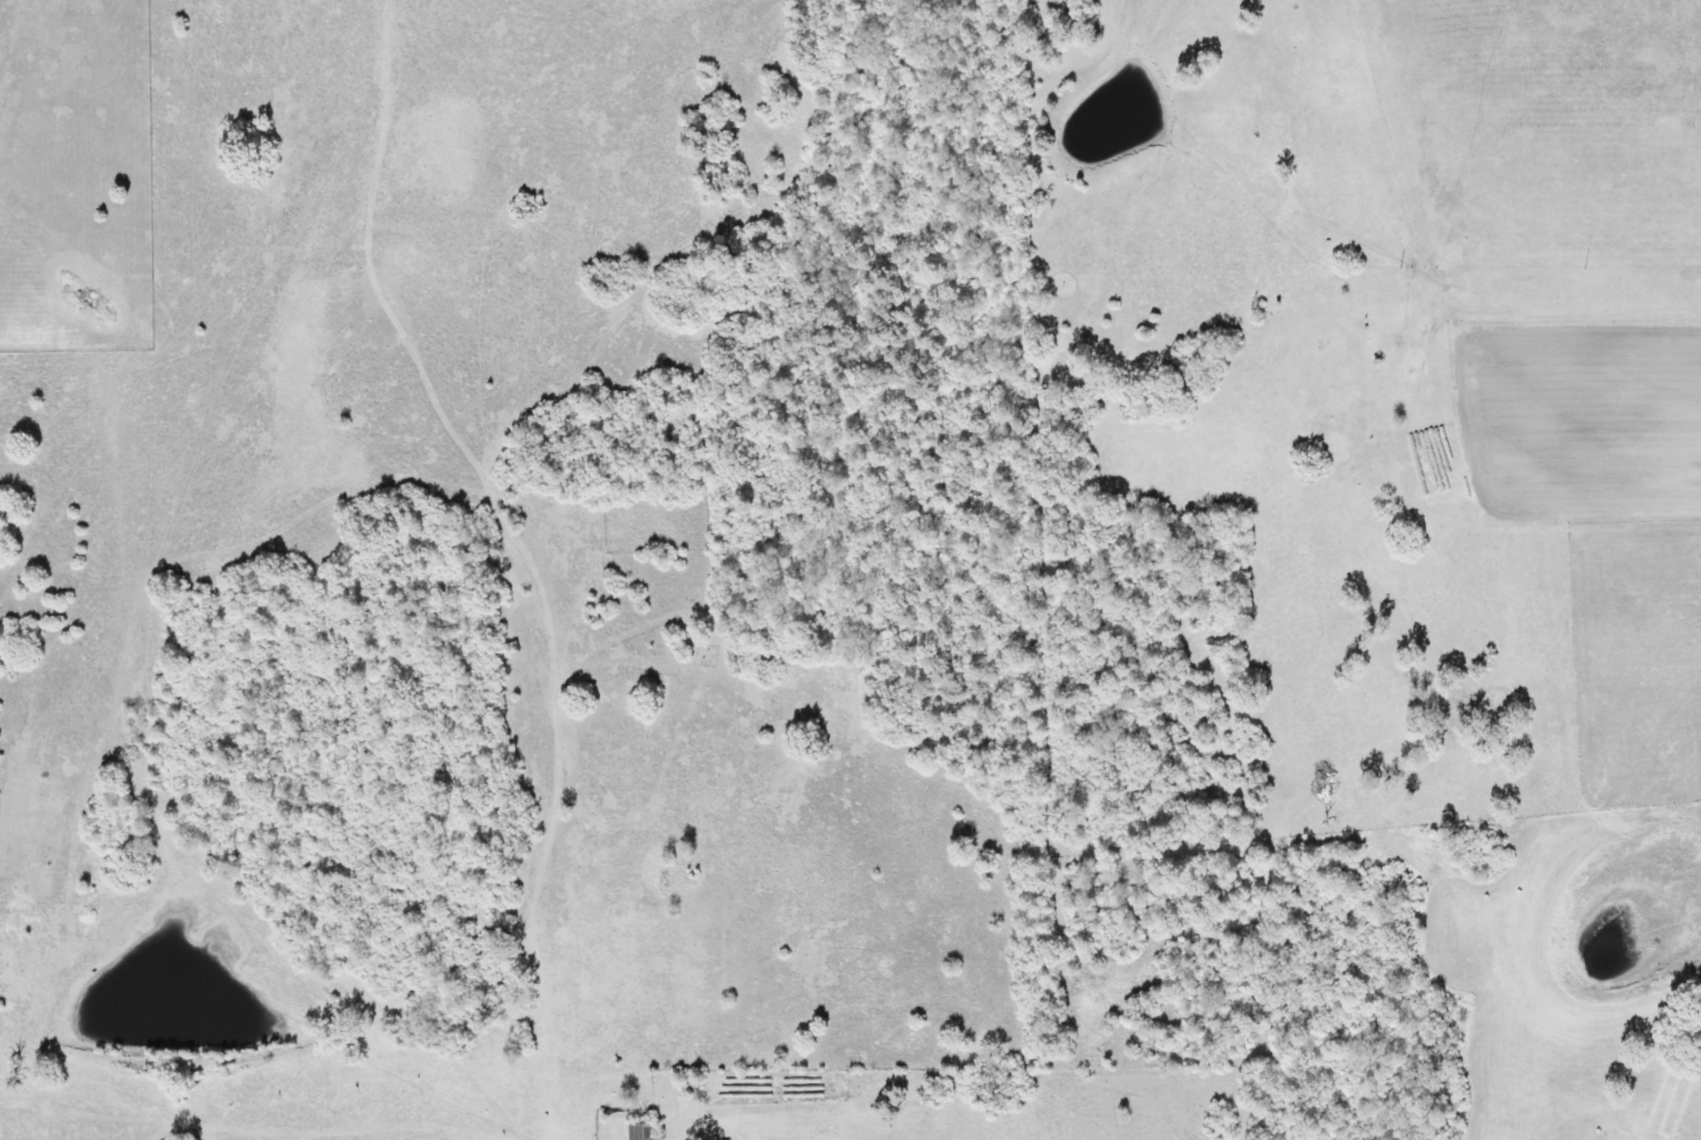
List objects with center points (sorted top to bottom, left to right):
road: (529, 558)
building: (643, 1131)

